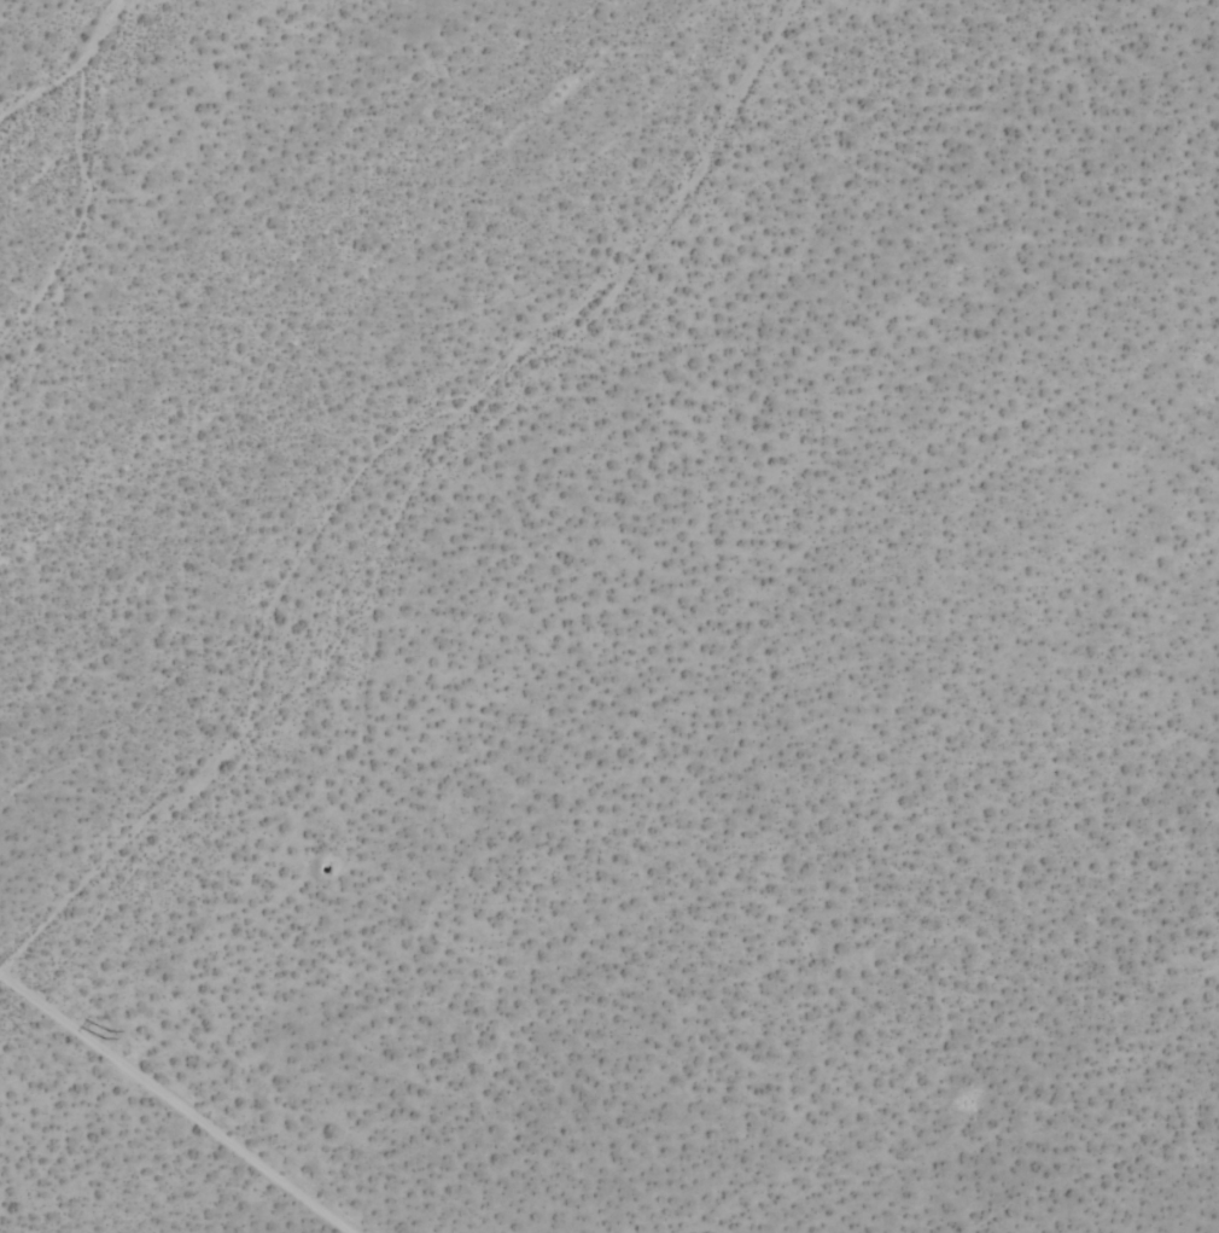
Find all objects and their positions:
power tower: (109, 1039)
road: (174, 1104)

